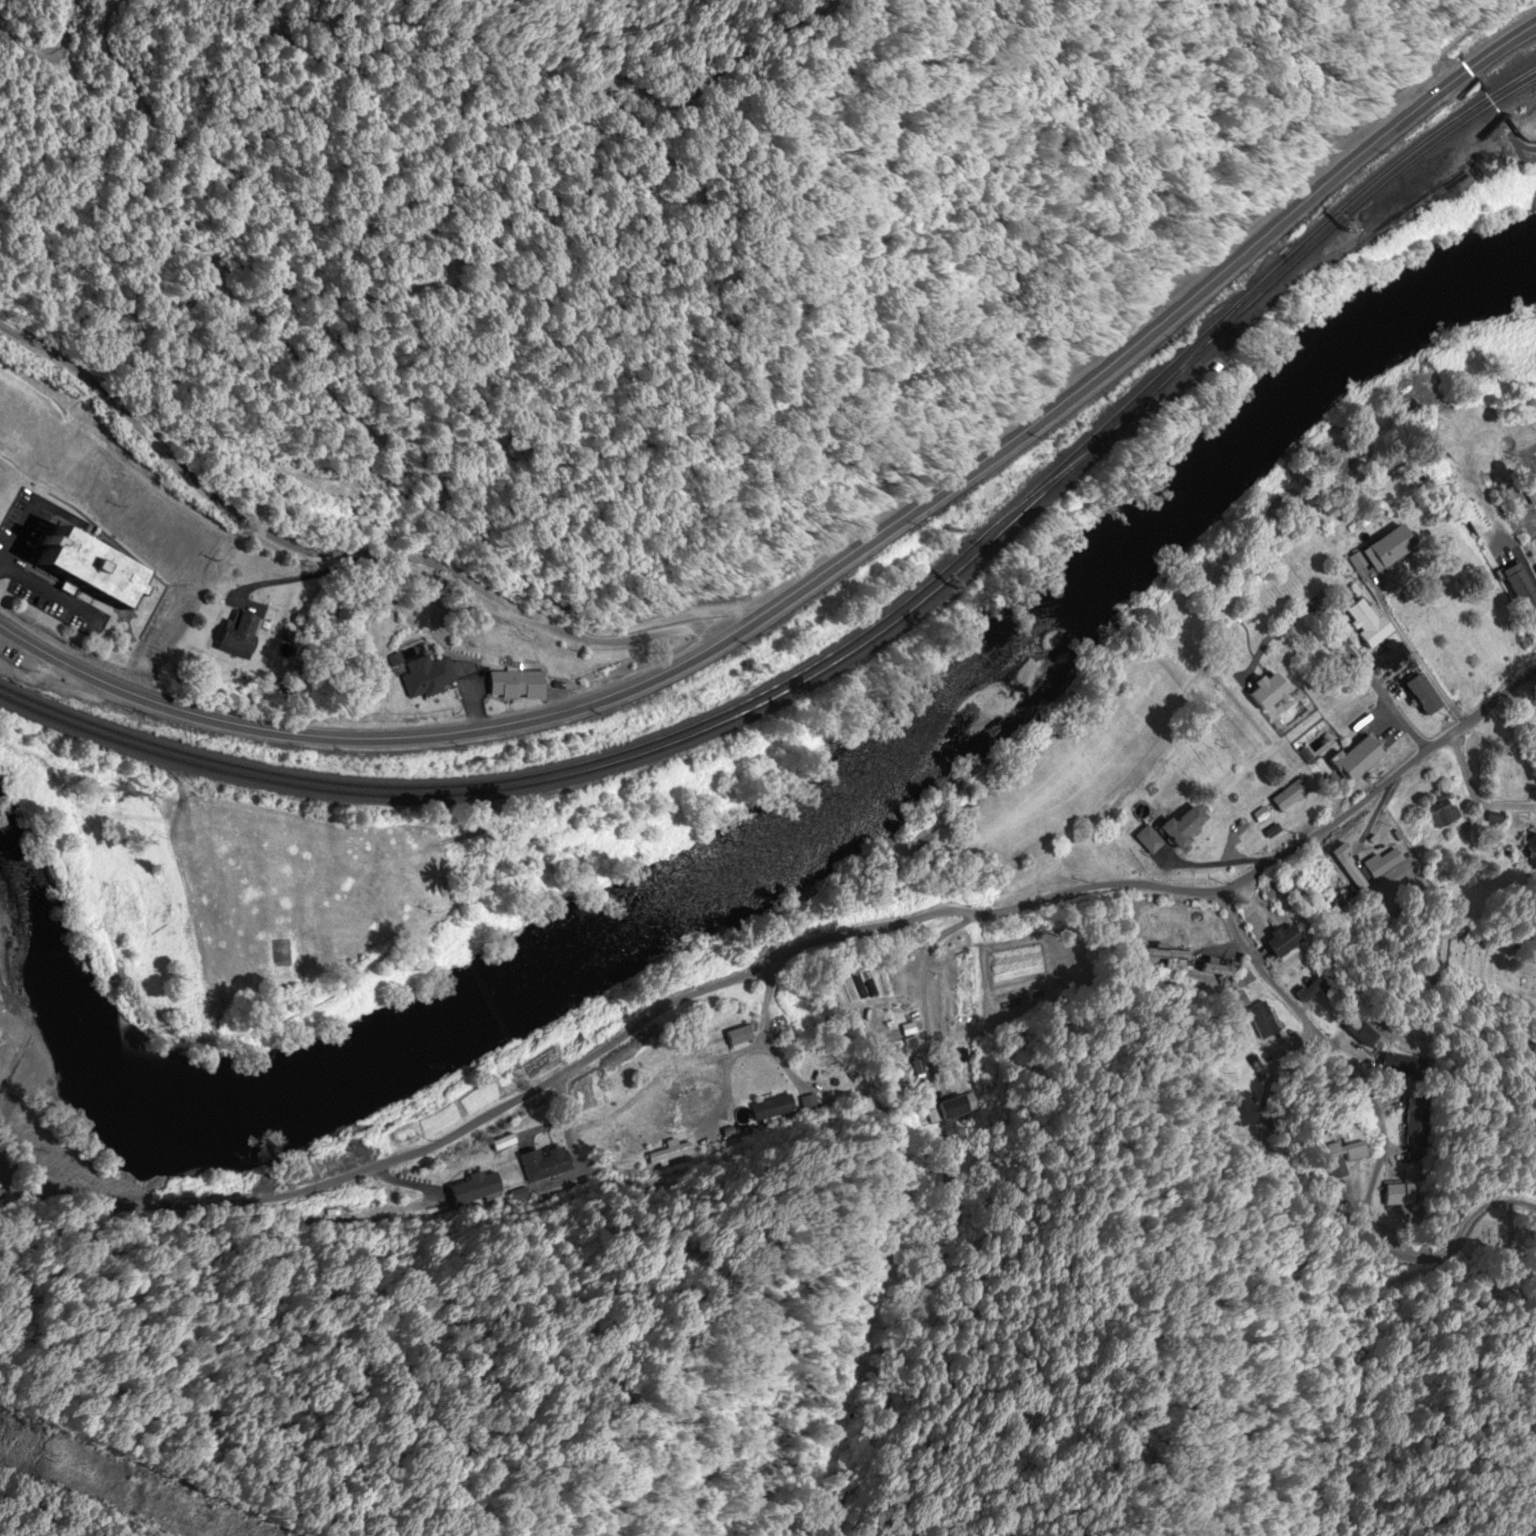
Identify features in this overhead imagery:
road: (617, 199)
road: (199, 268)
road: (1159, 319)
railway: (1207, 337)
road: (1527, 465)
building: (0, 467)
building: (1470, 520)
building: (1379, 550)
building: (100, 562)
building: (1535, 570)
building: (1517, 590)
road: (764, 617)
building: (1359, 622)
road: (1339, 631)
building: (245, 635)
railway: (848, 639)
railway: (849, 652)
building: (1385, 655)
building: (430, 677)
building: (519, 685)
road: (114, 686)
building: (1263, 690)
building: (1416, 695)
road: (504, 723)
building: (1535, 729)
building: (1354, 760)
building: (1289, 795)
building: (1439, 813)
building: (1175, 826)
building: (1144, 840)
river: (791, 846)
building: (1532, 849)
building: (468, 851)
building: (1365, 866)
building: (1336, 896)
building: (1280, 941)
building: (1163, 959)
road: (769, 960)
building: (343, 963)
building: (963, 988)
building: (1259, 1021)
building: (742, 1036)
road: (1351, 1074)
building: (772, 1105)
building: (946, 1109)
building: (1341, 1152)
building: (1336, 1184)
road: (1473, 1224)

